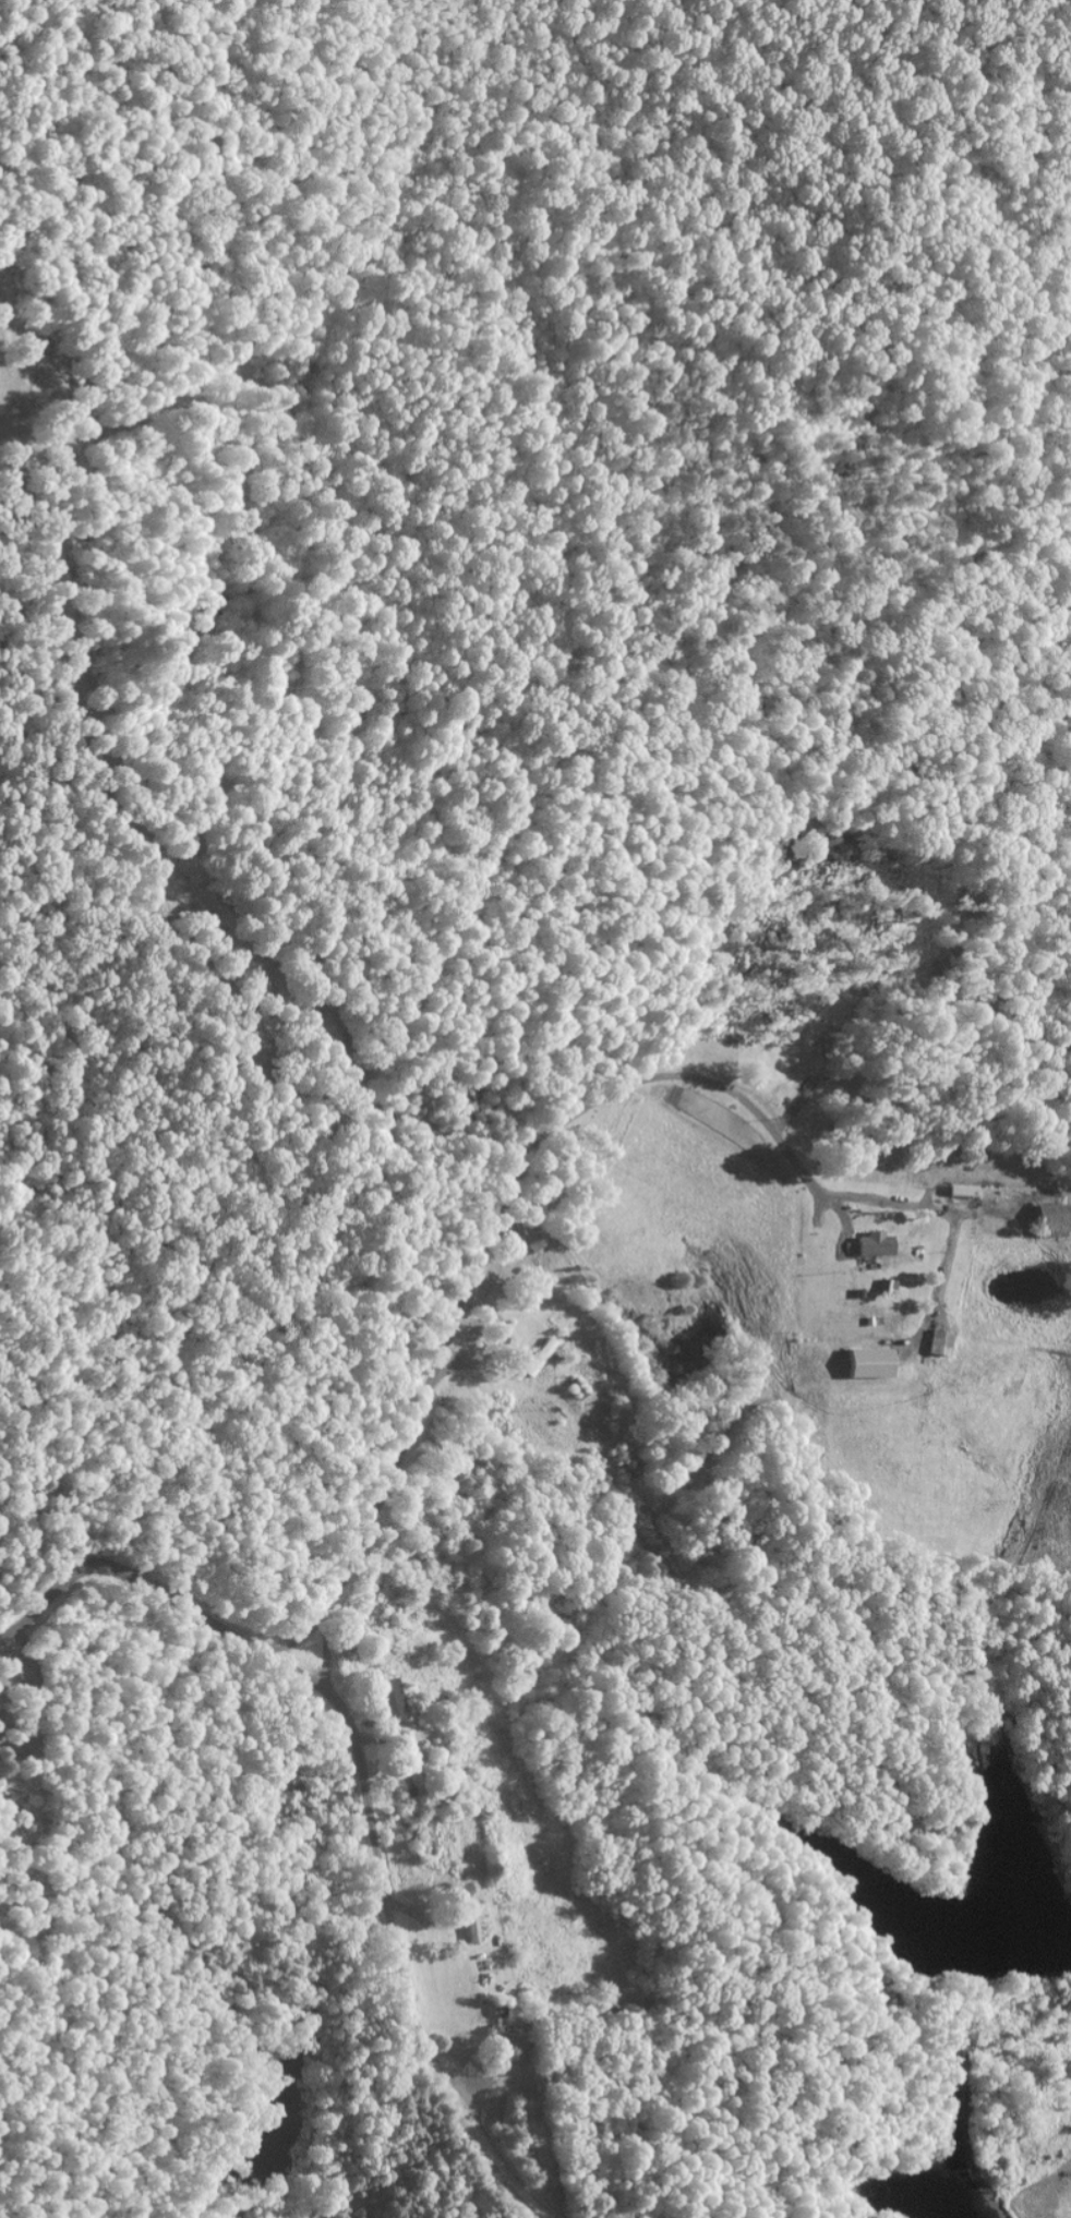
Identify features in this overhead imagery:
building: (1049, 1220)
road: (481, 1244)
building: (874, 1244)
building: (938, 1342)
building: (869, 1363)
road: (298, 1631)
building: (392, 1700)
building: (405, 1755)
road: (360, 1779)

